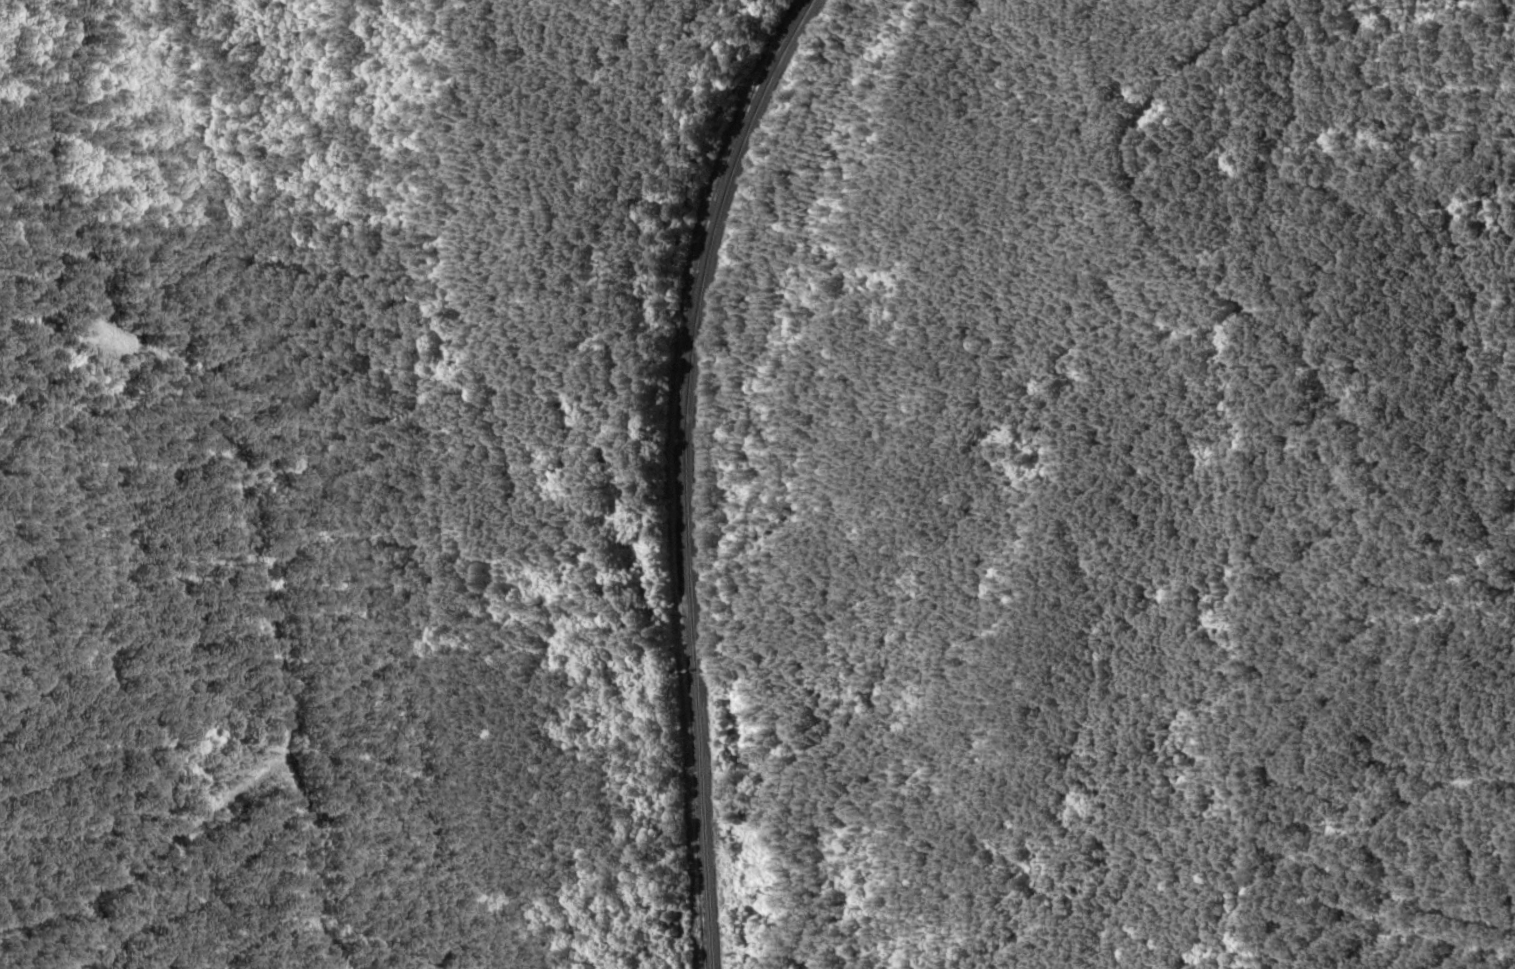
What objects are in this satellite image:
railway: (685, 473)

